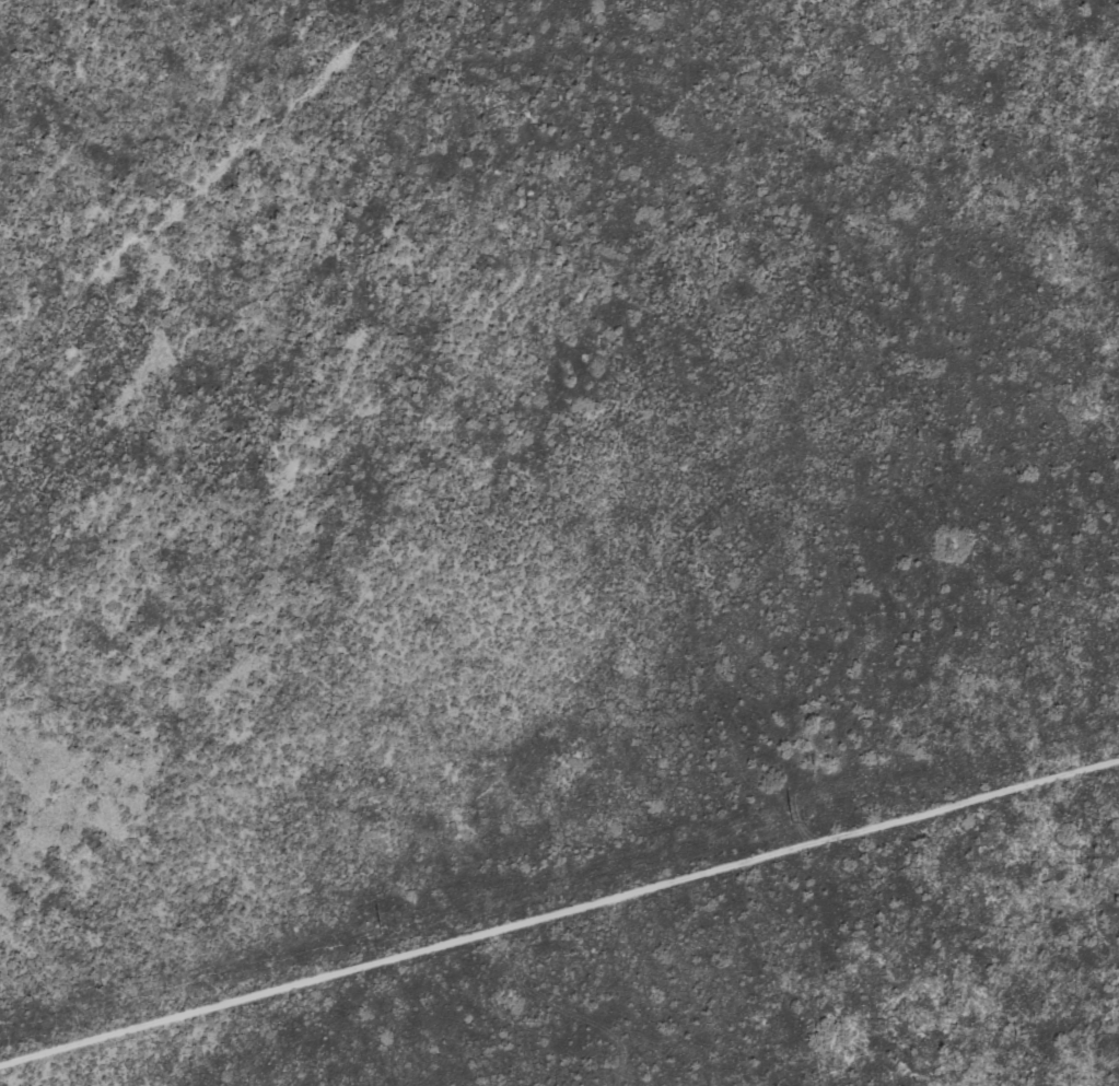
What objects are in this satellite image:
power tower: (789, 817)
power tower: (377, 931)

